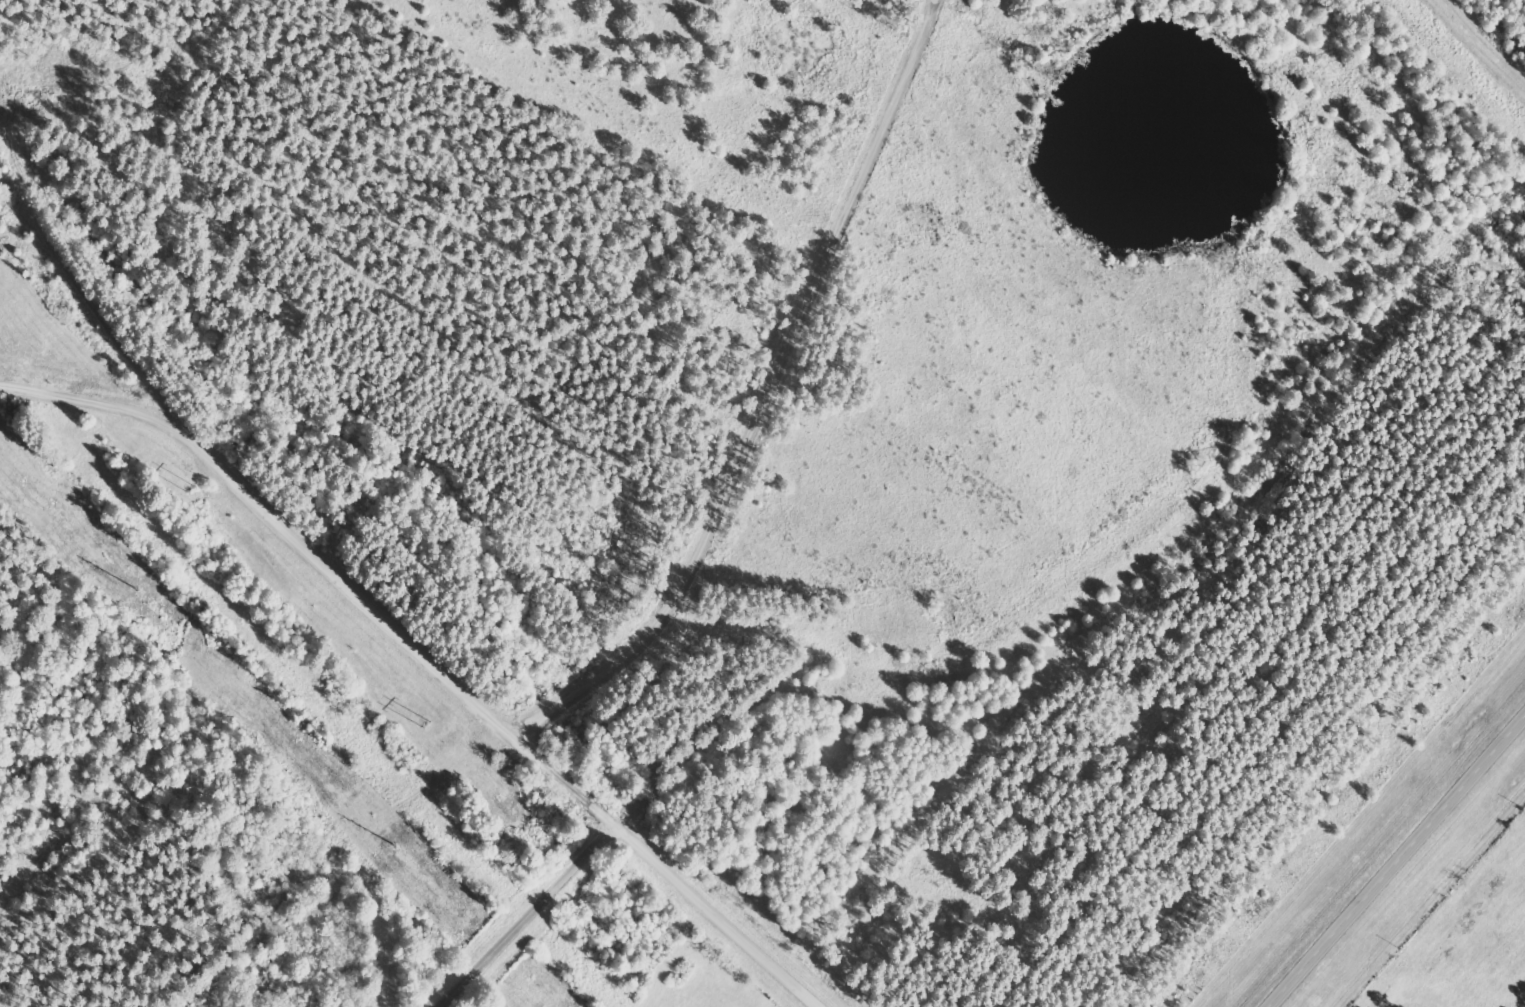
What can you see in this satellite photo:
road: (764, 399)
power tower: (151, 593)
road: (426, 659)
power tower: (406, 847)
road: (1396, 860)

